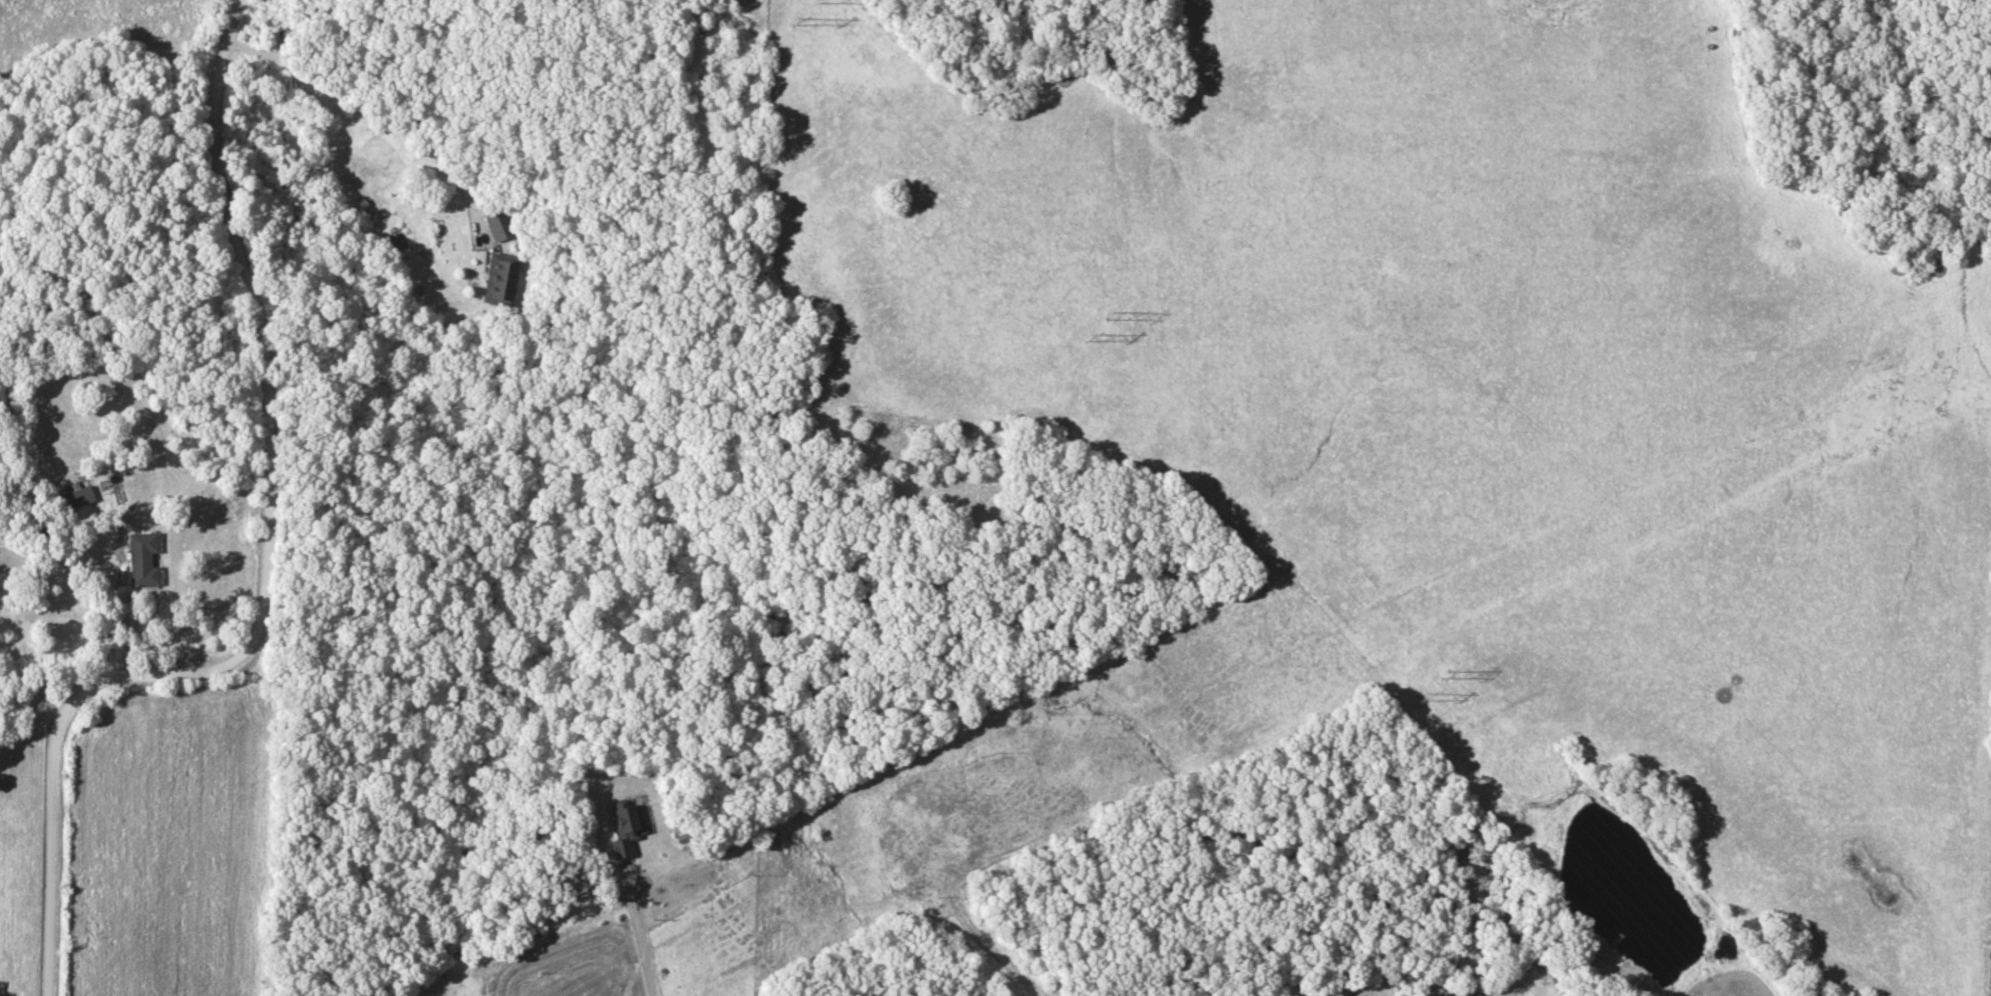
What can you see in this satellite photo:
power tower: (793, 22)
road: (383, 78)
building: (498, 225)
building: (498, 280)
power tower: (1111, 317)
power tower: (1087, 338)
building: (74, 499)
building: (140, 560)
road: (261, 566)
power tower: (1444, 675)
power tower: (1422, 696)
building: (624, 829)
road: (639, 937)

